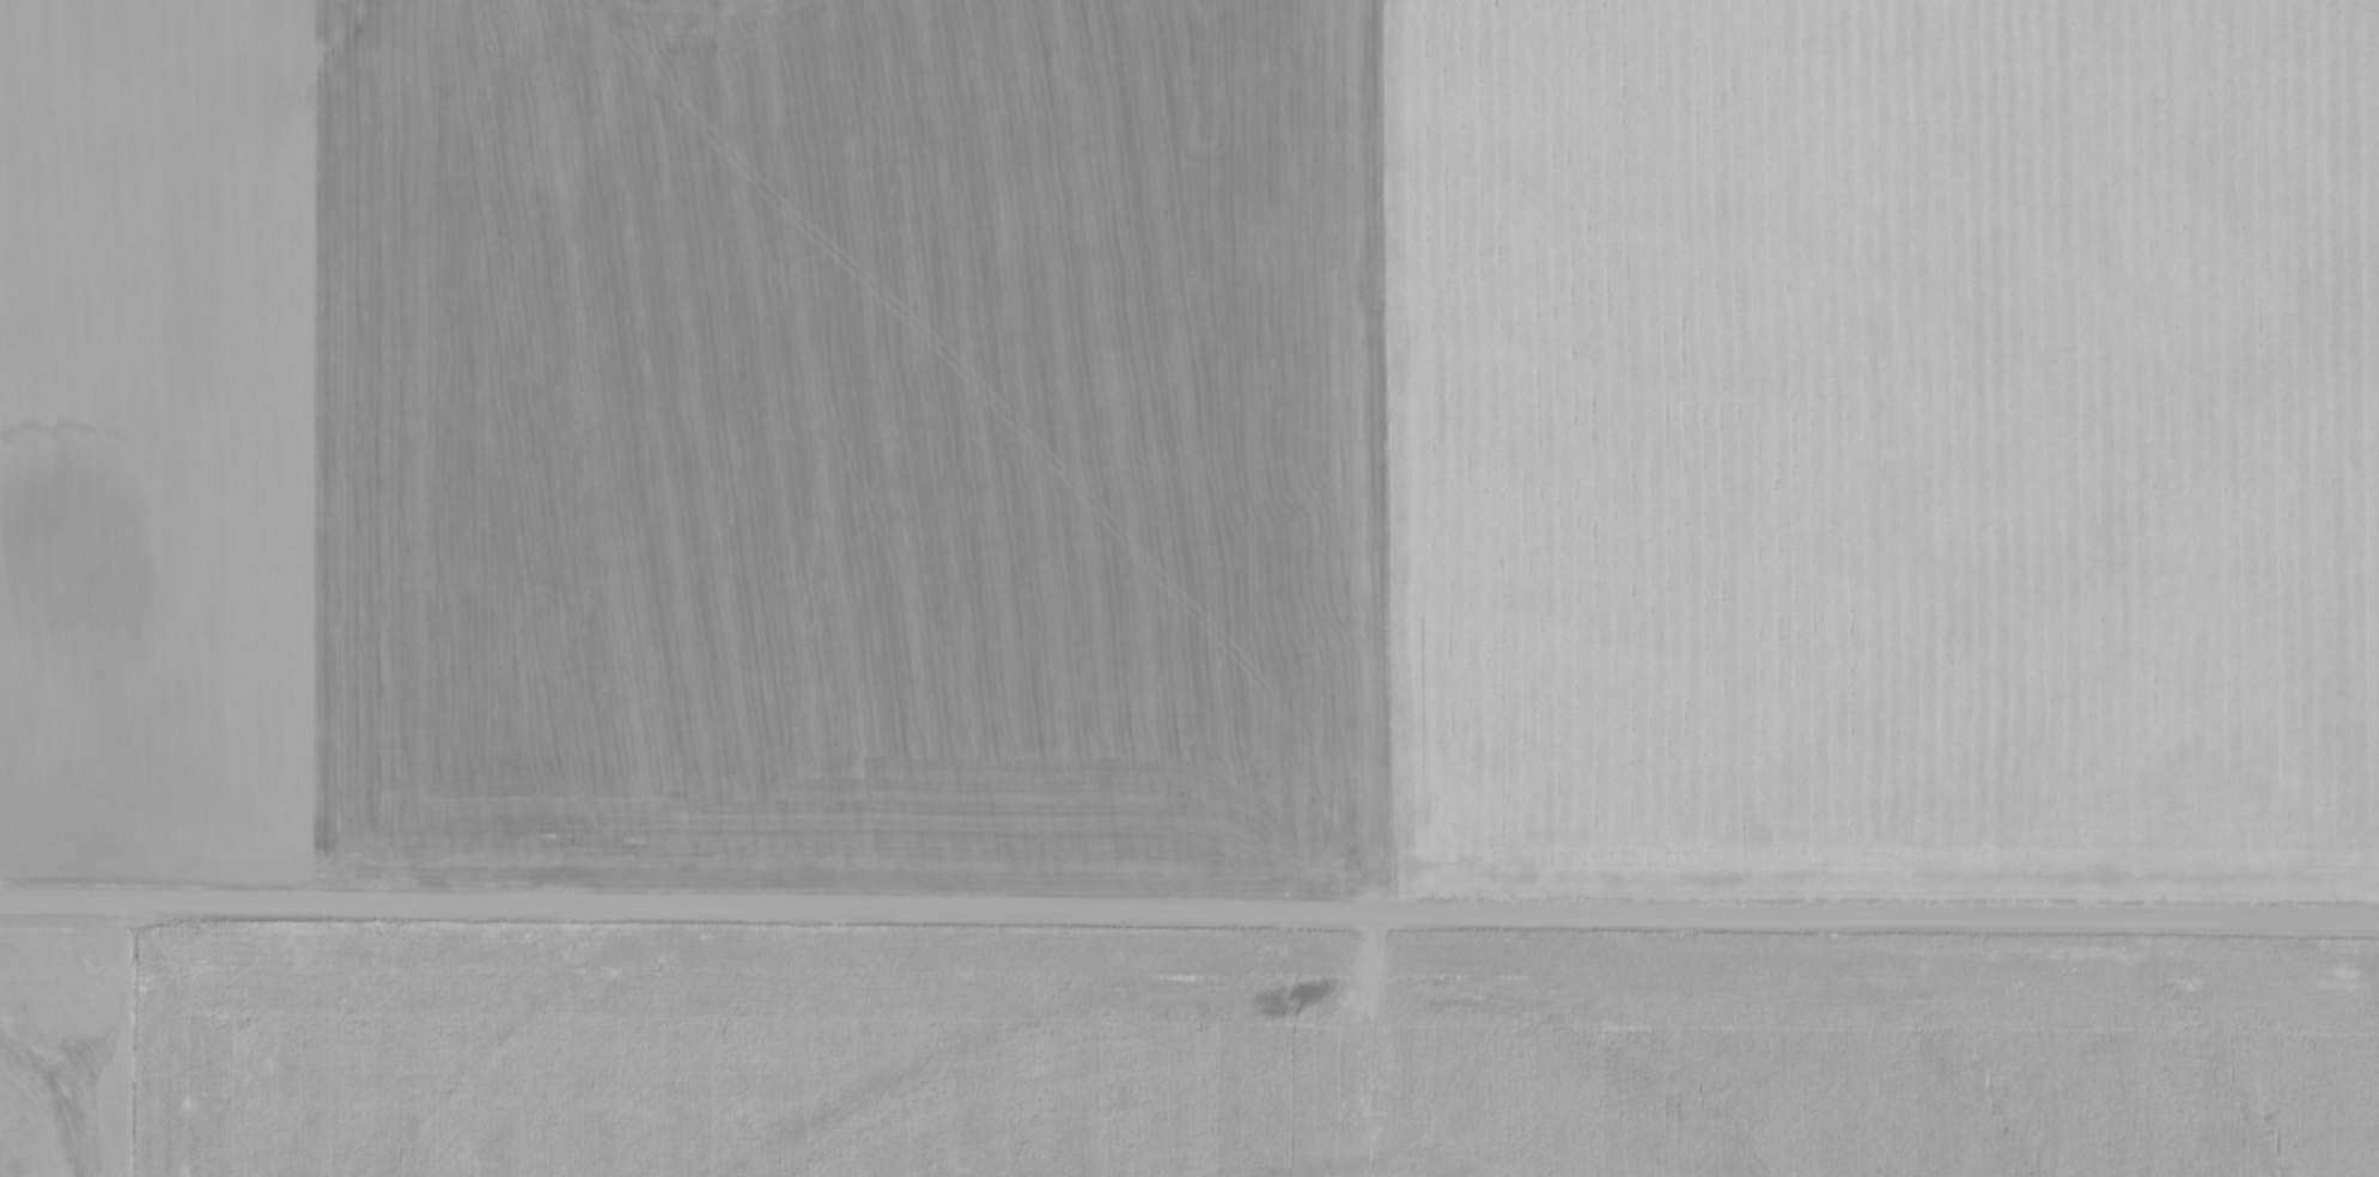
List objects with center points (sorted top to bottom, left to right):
road: (1189, 907)

